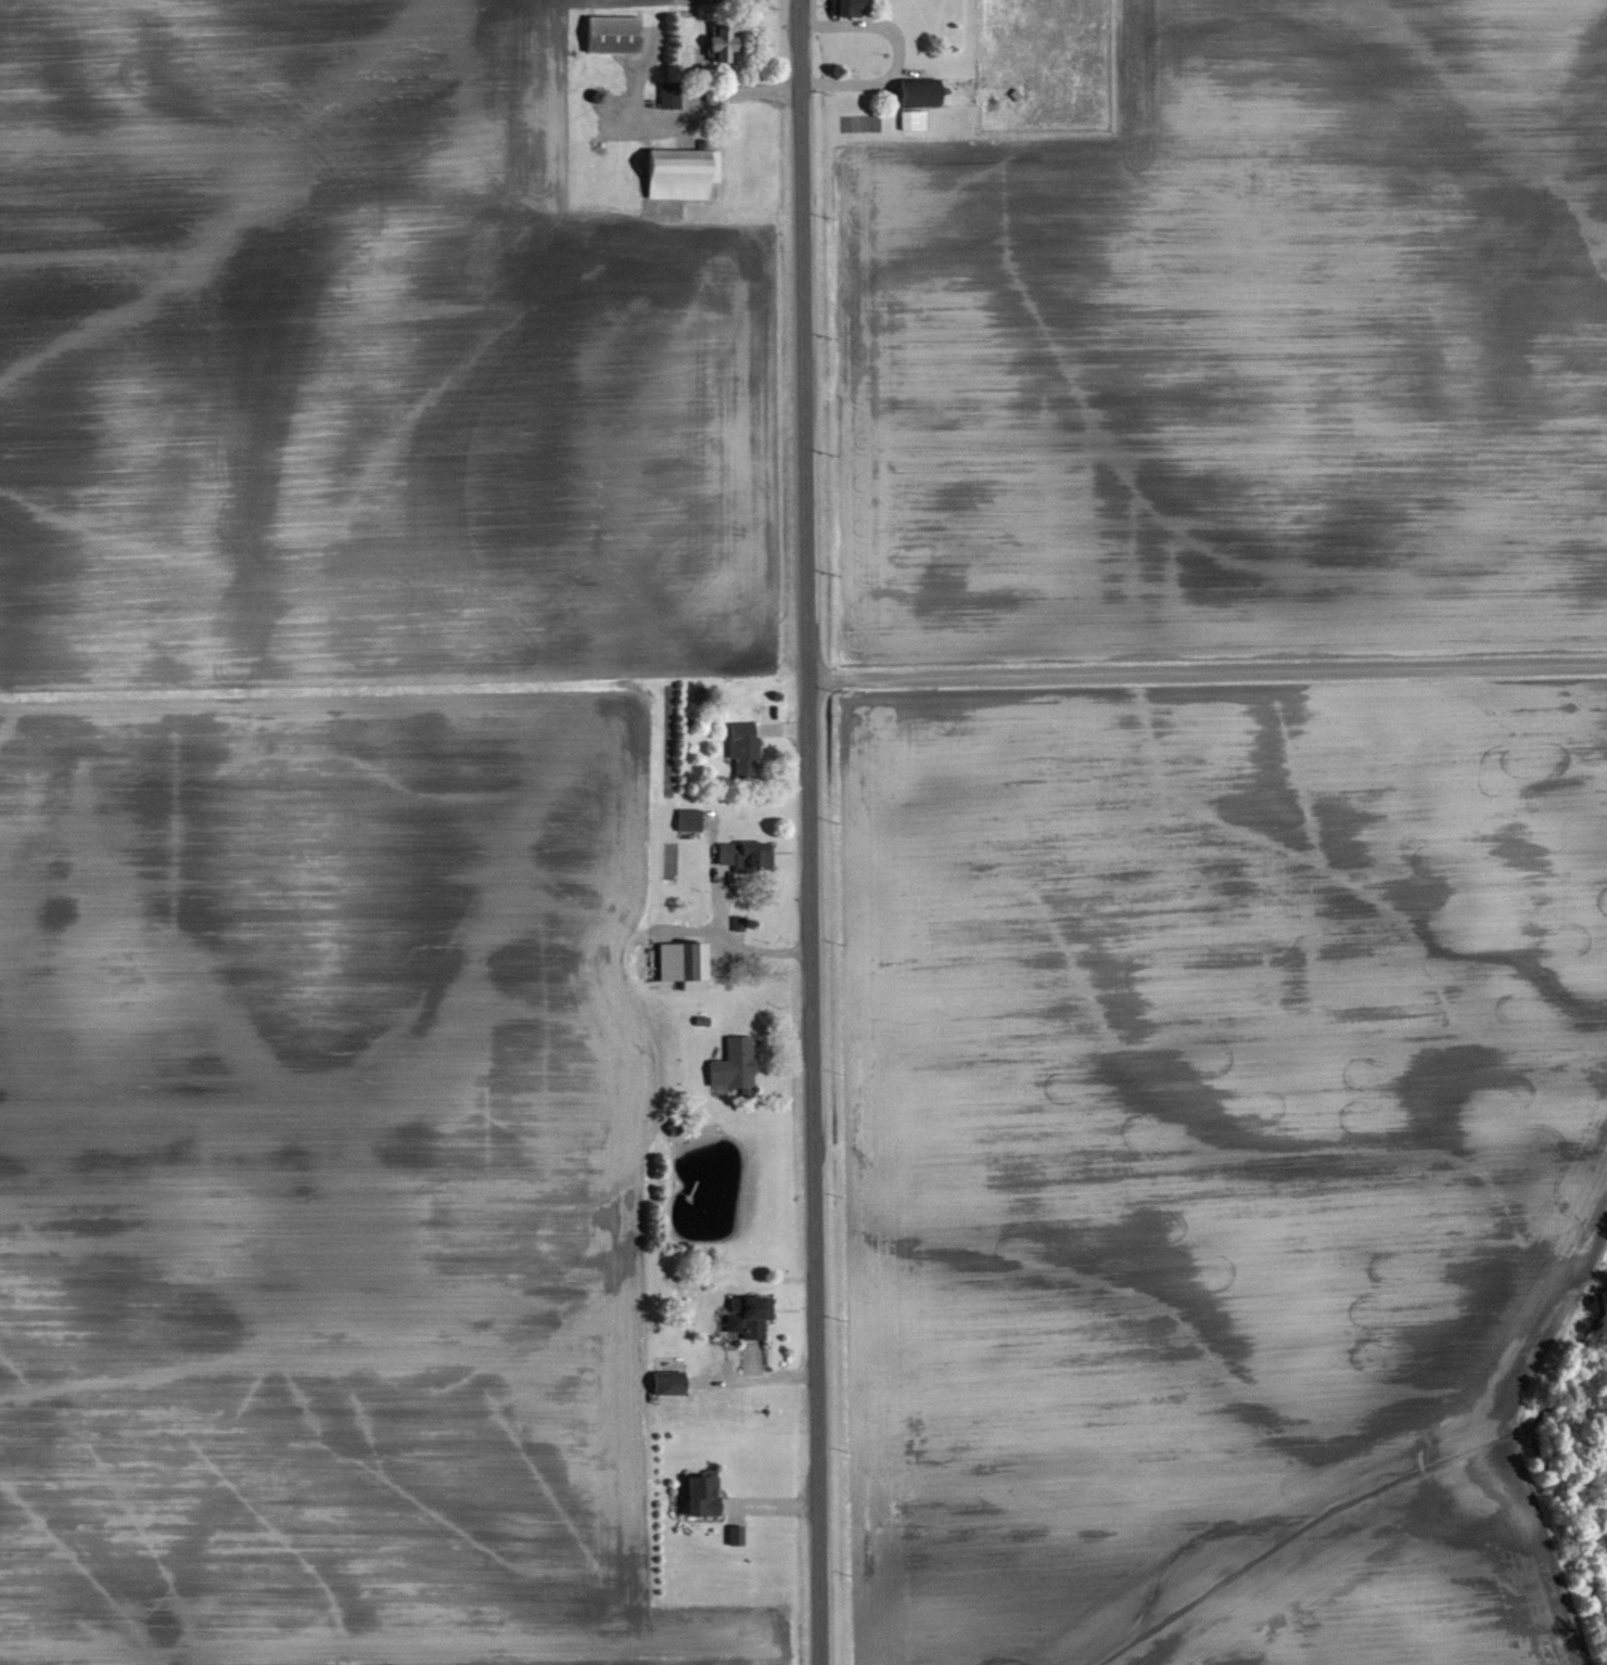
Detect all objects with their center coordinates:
building: (843, 8)
building: (610, 34)
building: (715, 43)
road: (893, 54)
building: (916, 90)
building: (666, 94)
building: (678, 174)
road: (1207, 669)
building: (740, 748)
building: (686, 819)
road: (805, 832)
building: (741, 853)
road: (741, 948)
building: (676, 957)
building: (736, 1061)
building: (749, 1318)
building: (663, 1385)
building: (696, 1495)

